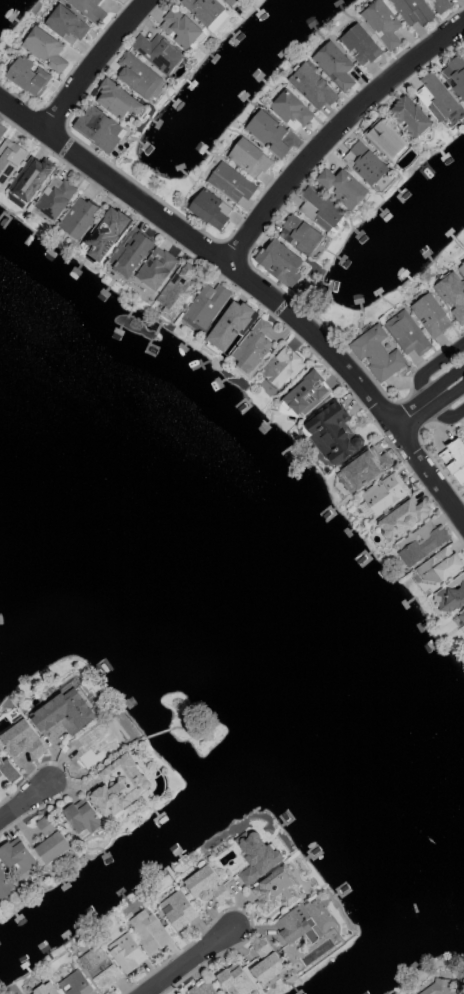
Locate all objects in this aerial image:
building: (113, 0)
building: (229, 2)
building: (440, 5)
building: (88, 9)
building: (203, 10)
building: (411, 10)
building: (381, 23)
building: (66, 25)
building: (179, 28)
building: (359, 44)
building: (44, 49)
building: (157, 52)
road: (94, 64)
building: (334, 65)
building: (27, 75)
building: (137, 75)
building: (455, 76)
building: (312, 87)
building: (435, 97)
building: (117, 100)
building: (290, 110)
building: (409, 117)
building: (98, 128)
building: (1, 130)
road: (334, 130)
building: (267, 133)
building: (385, 139)
building: (249, 158)
building: (9, 159)
building: (364, 164)
building: (30, 178)
building: (230, 183)
building: (342, 187)
building: (54, 198)
building: (209, 209)
building: (319, 209)
building: (77, 218)
building: (106, 233)
building: (299, 235)
road: (207, 250)
building: (129, 252)
building: (279, 263)
building: (155, 268)
building: (178, 287)
building: (452, 295)
building: (206, 304)
building: (430, 315)
building: (230, 325)
building: (406, 333)
building: (252, 346)
building: (376, 353)
building: (281, 367)
road: (422, 382)
building: (306, 394)
road: (428, 400)
building: (332, 433)
building: (454, 459)
building: (367, 468)
road: (428, 472)
building: (385, 493)
building: (403, 518)
building: (421, 542)
building: (440, 565)
building: (451, 594)
building: (462, 617)
building: (64, 712)
road: (183, 729)
road: (157, 733)
building: (21, 738)
building: (86, 747)
building: (1, 750)
road: (97, 761)
building: (9, 770)
building: (122, 787)
road: (24, 800)
building: (82, 817)
building: (51, 840)
building: (257, 855)
building: (13, 864)
building: (206, 883)
building: (276, 889)
building: (179, 909)
building: (298, 925)
building: (149, 931)
building: (126, 952)
road: (185, 960)
building: (265, 962)
building: (98, 965)
building: (235, 980)
building: (75, 984)
building: (439, 984)
building: (202, 988)
building: (45, 989)
building: (413, 993)

